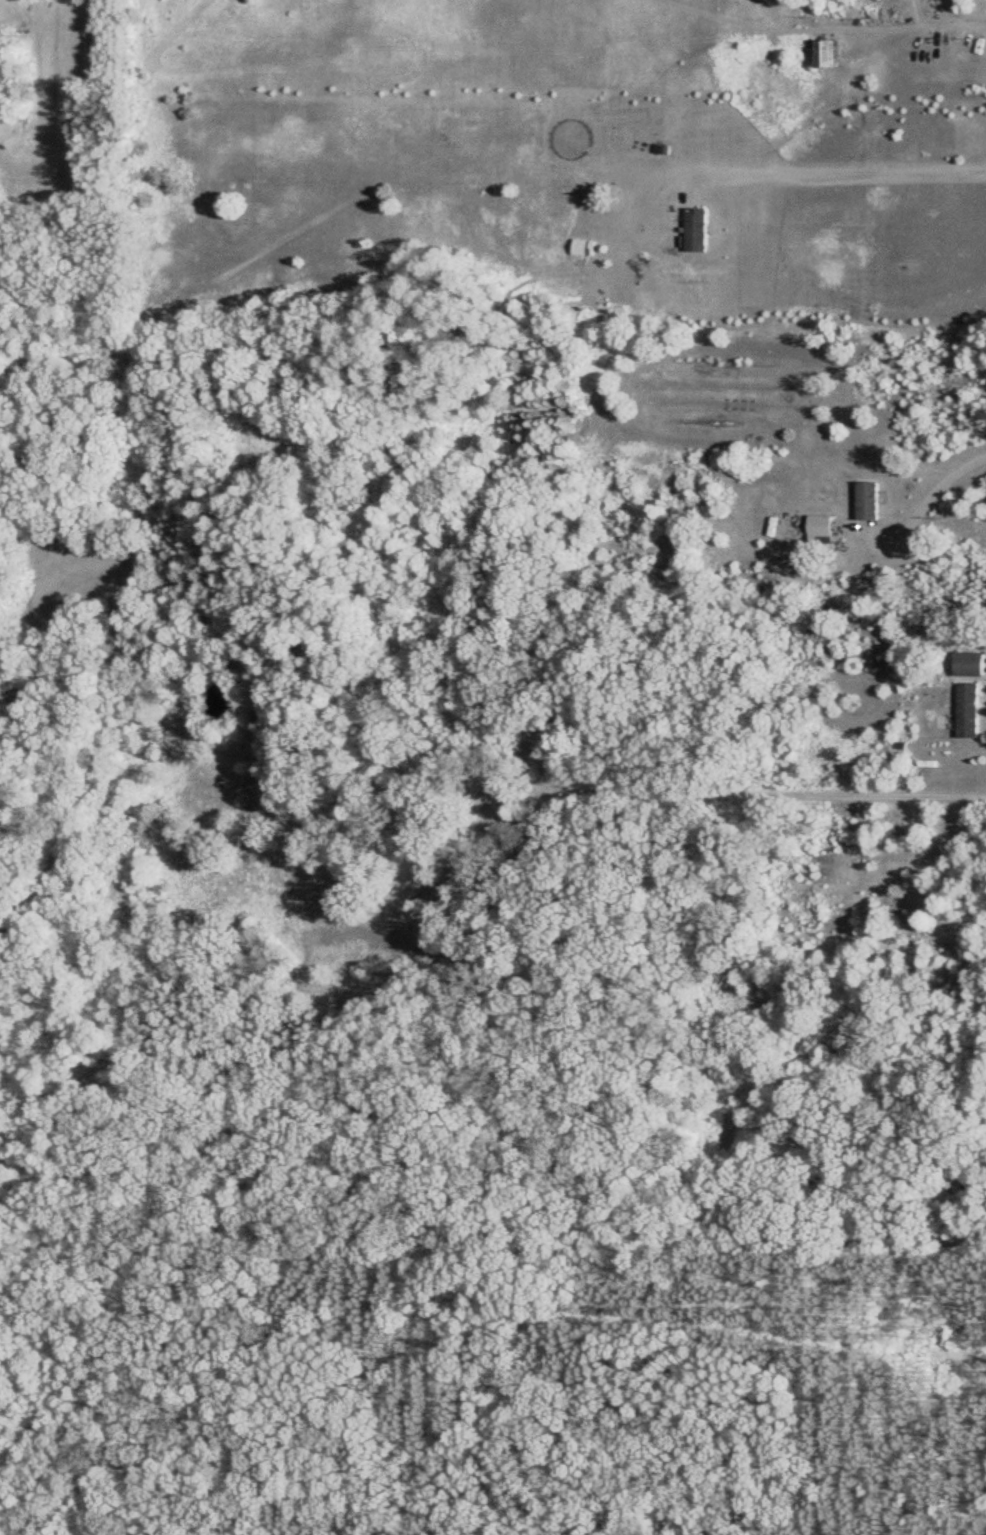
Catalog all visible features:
building: (821, 53)
building: (695, 230)
building: (582, 248)
building: (865, 501)
building: (966, 665)
building: (965, 711)

